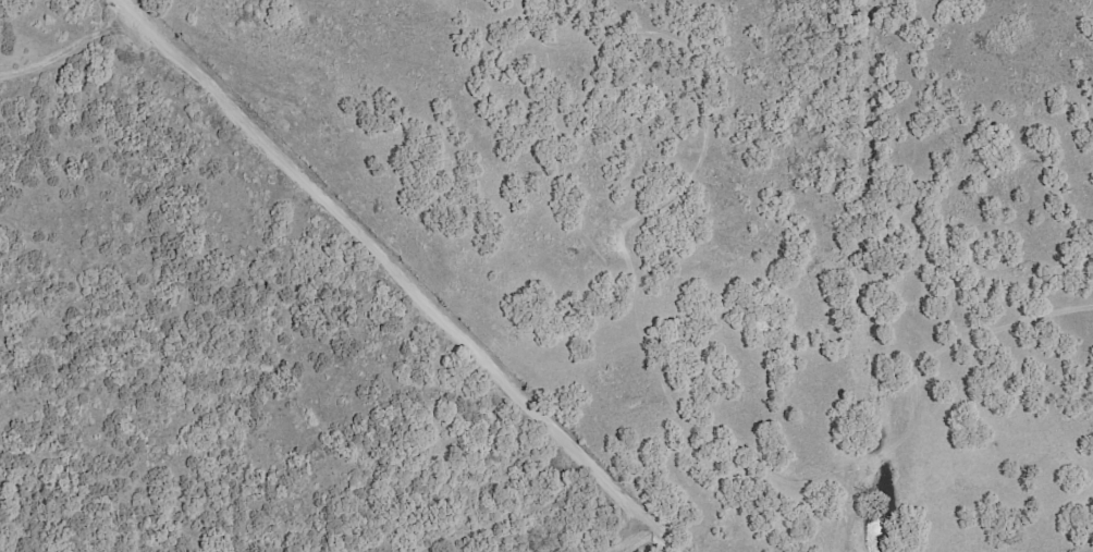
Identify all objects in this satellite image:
road: (913, 364)

